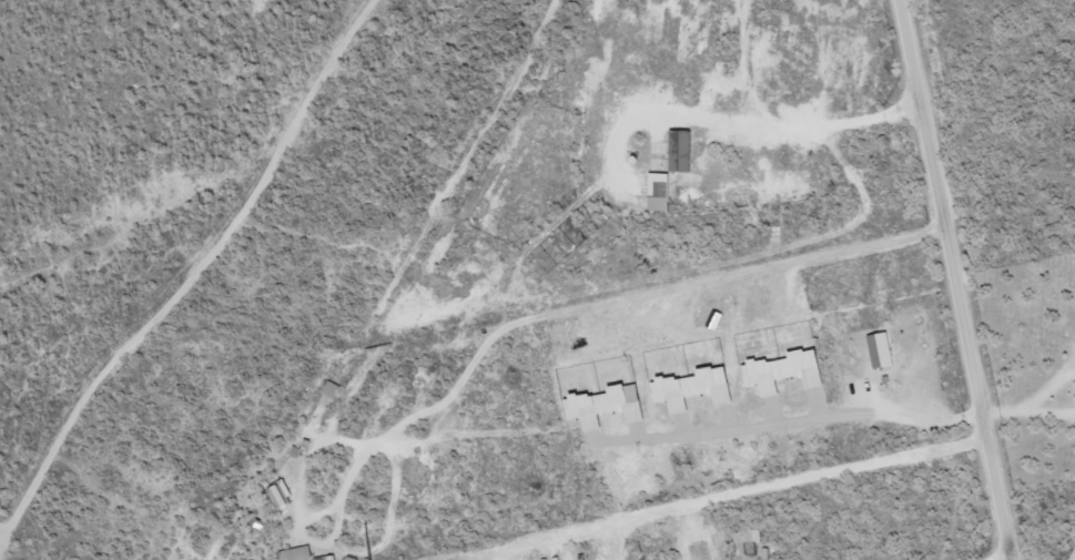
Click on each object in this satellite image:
building: (684, 151)
building: (662, 192)
road: (192, 273)
road: (952, 279)
railway: (410, 284)
building: (719, 318)
building: (884, 349)
building: (789, 369)
building: (698, 387)
building: (334, 388)
building: (610, 405)
road: (791, 420)
building: (286, 492)
building: (748, 534)
building: (303, 553)

